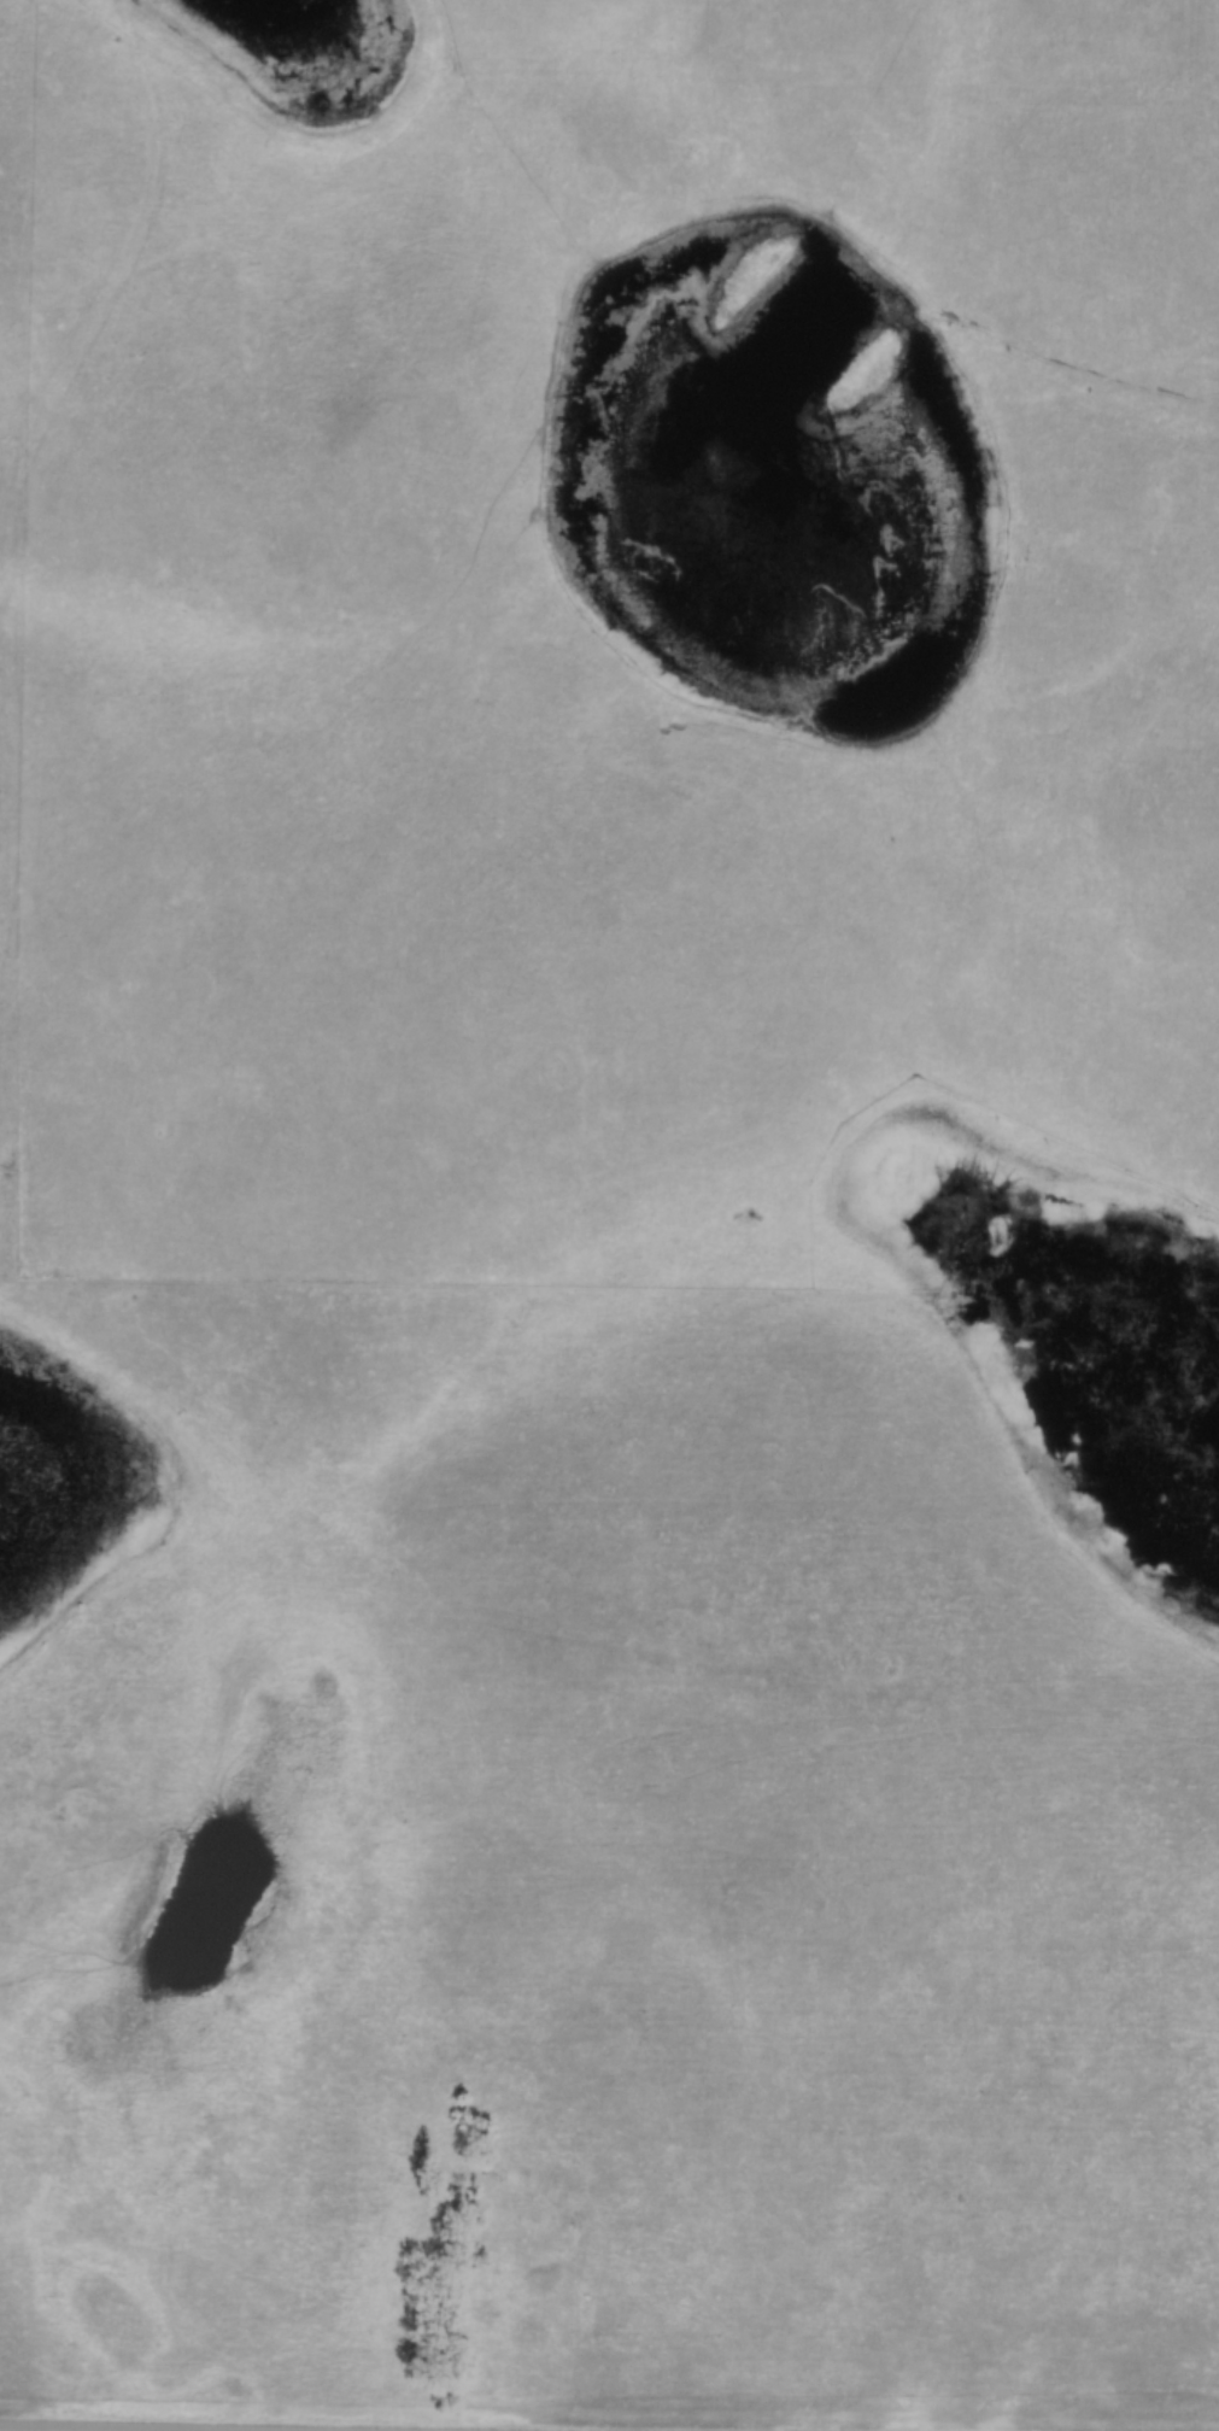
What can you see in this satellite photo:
road: (157, 2427)

